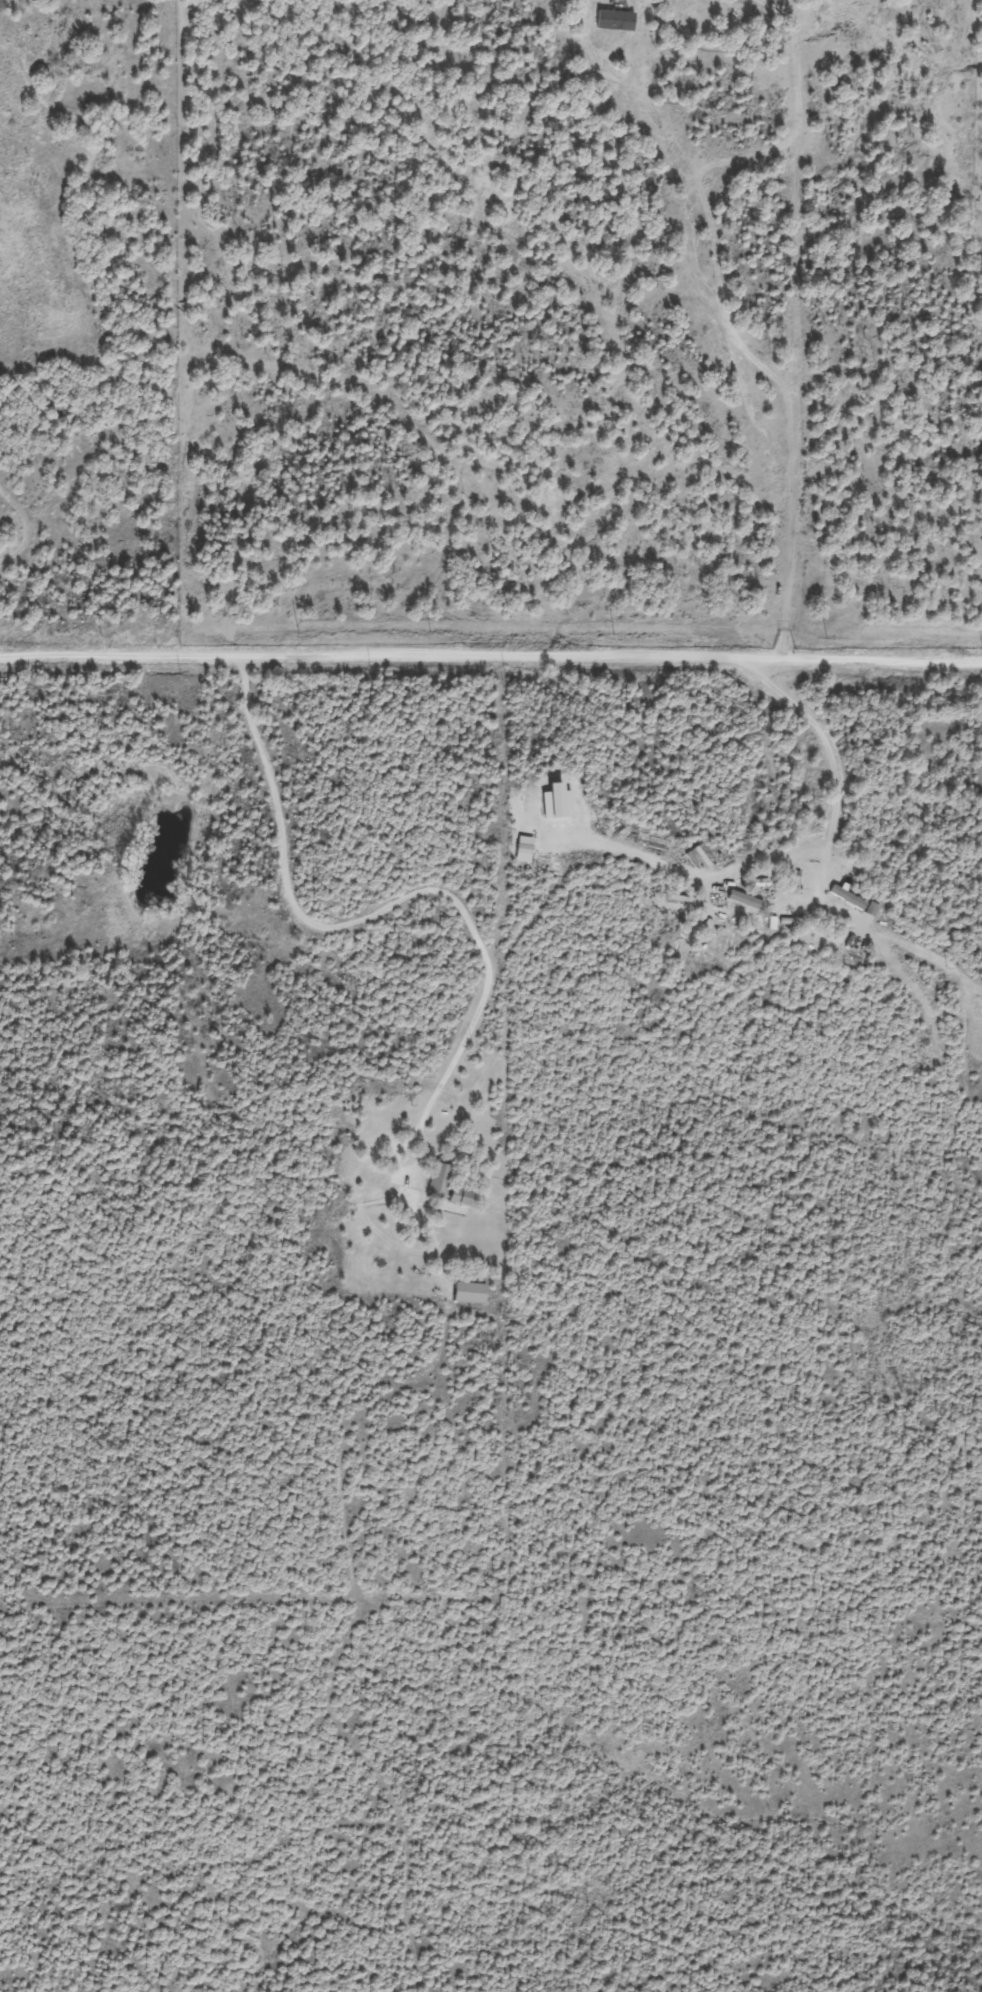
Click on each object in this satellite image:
building: (3, 128)
building: (57, 528)
road: (491, 651)
building: (848, 897)
building: (773, 903)
building: (440, 1180)
building: (463, 1196)
building: (471, 1292)

